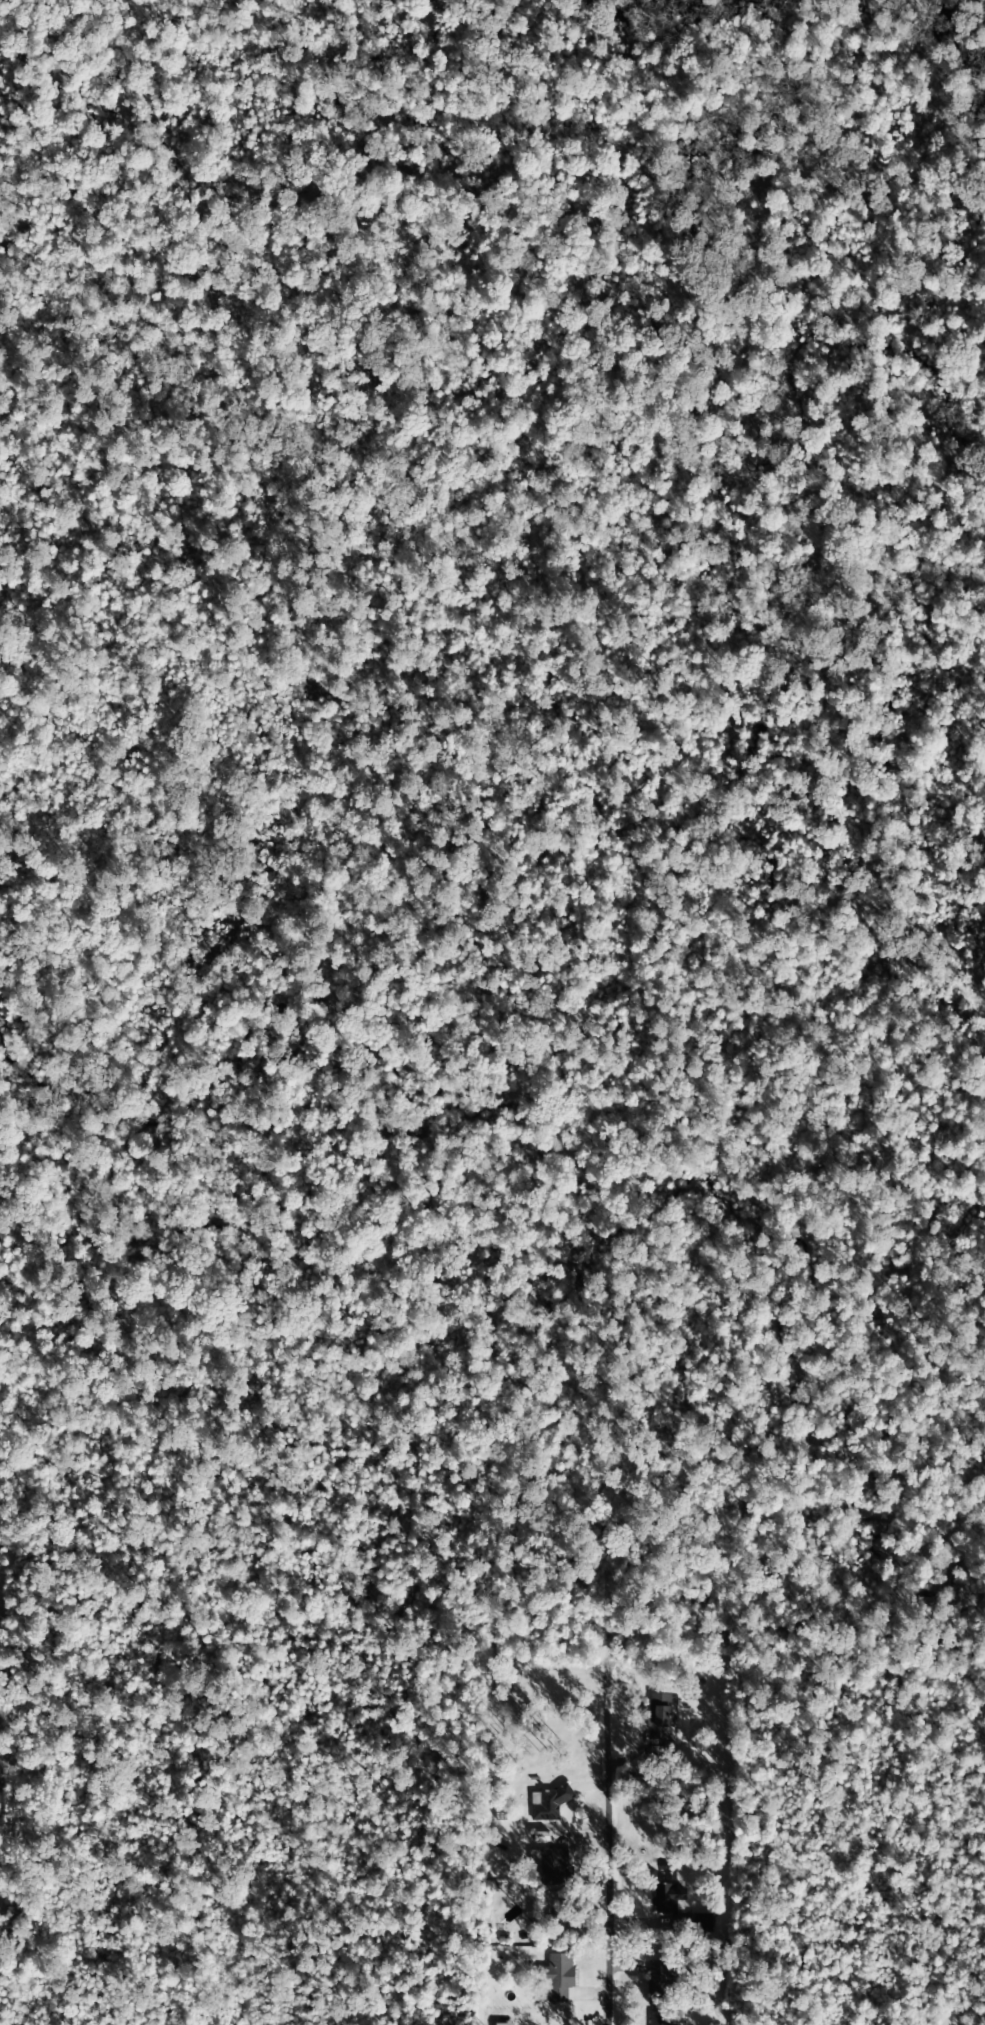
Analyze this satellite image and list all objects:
building: (659, 1717)
road: (582, 1831)
building: (555, 1870)
building: (666, 1898)
building: (691, 1923)
building: (557, 1977)
building: (659, 1979)
building: (659, 2019)
building: (504, 2024)

